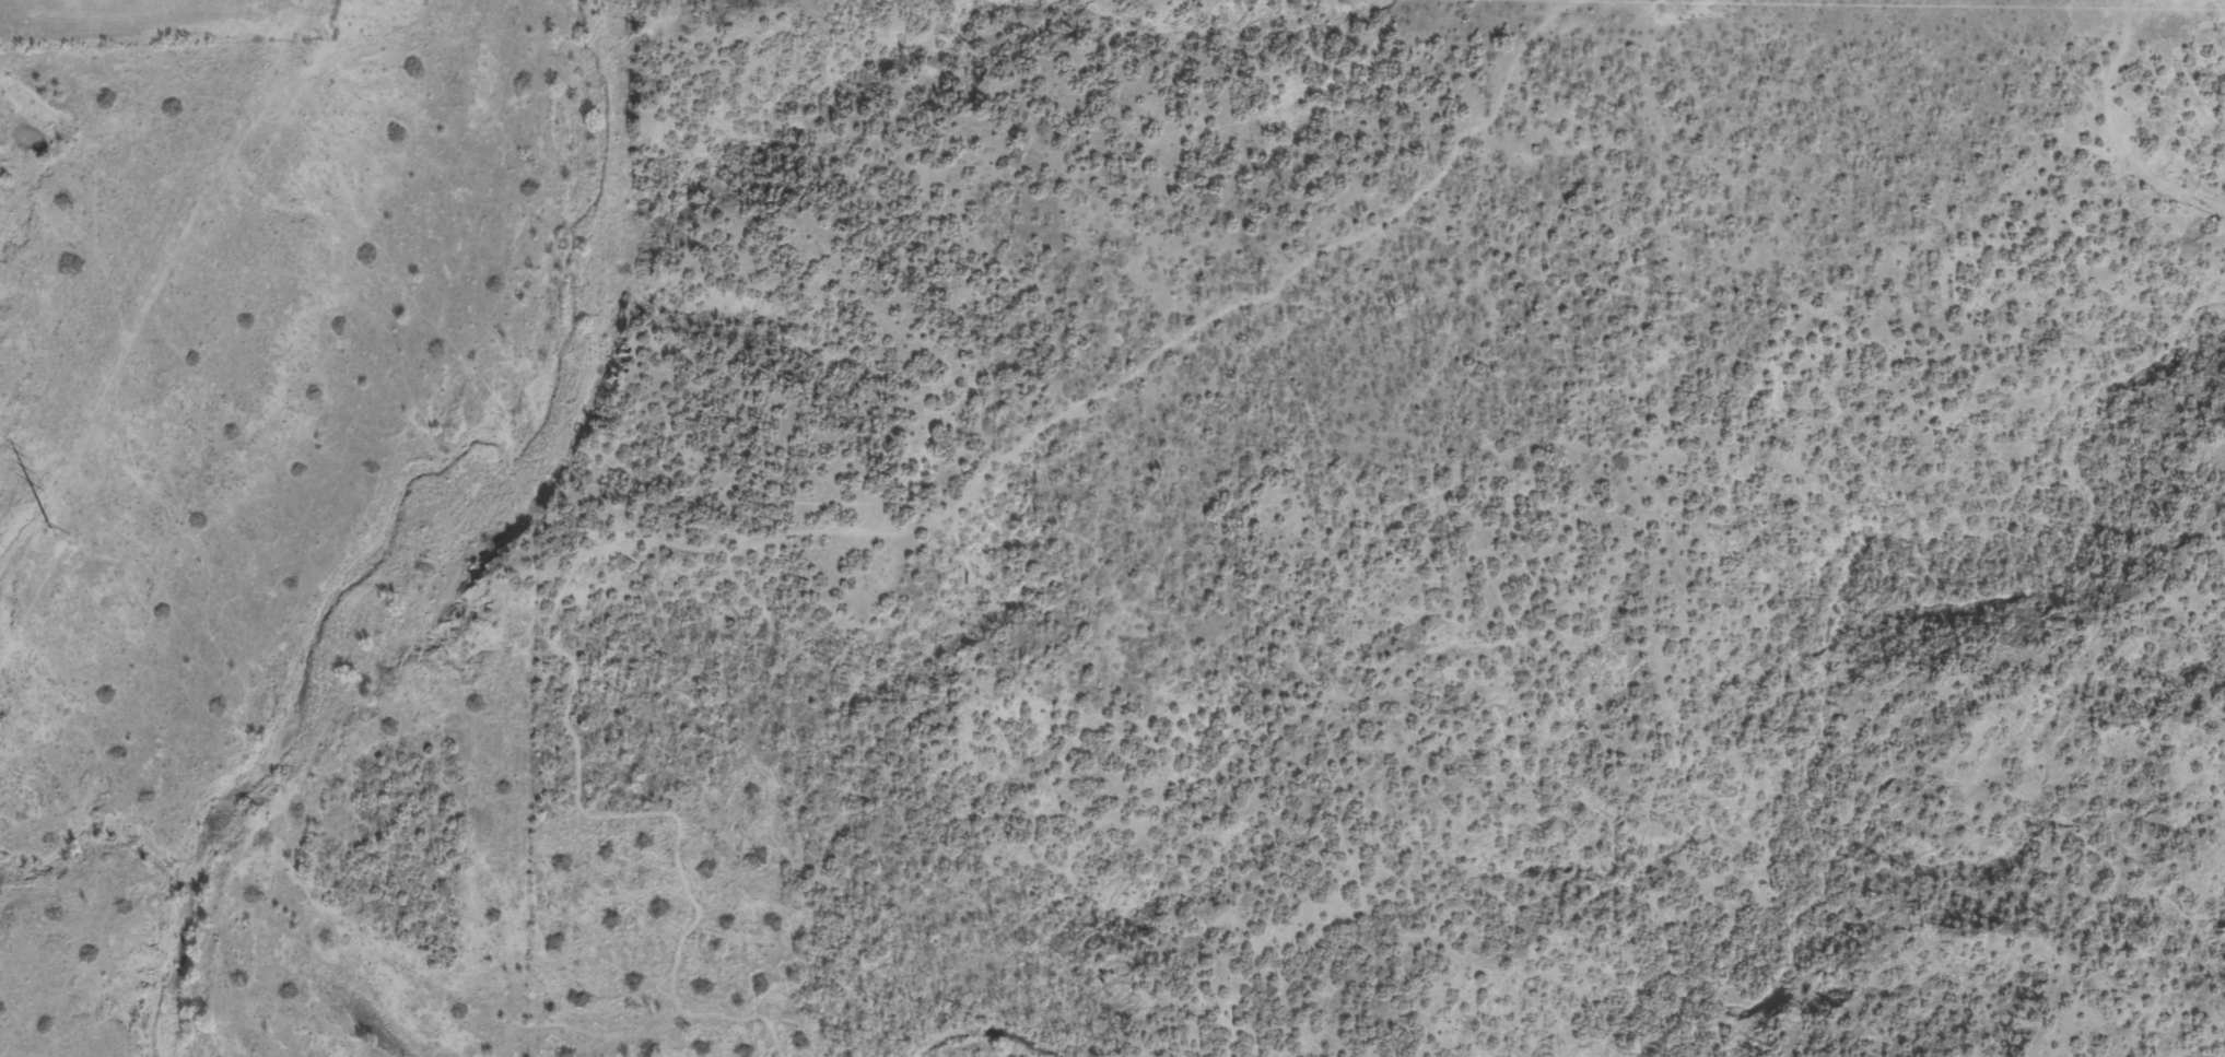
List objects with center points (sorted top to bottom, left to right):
power tower: (48, 526)

